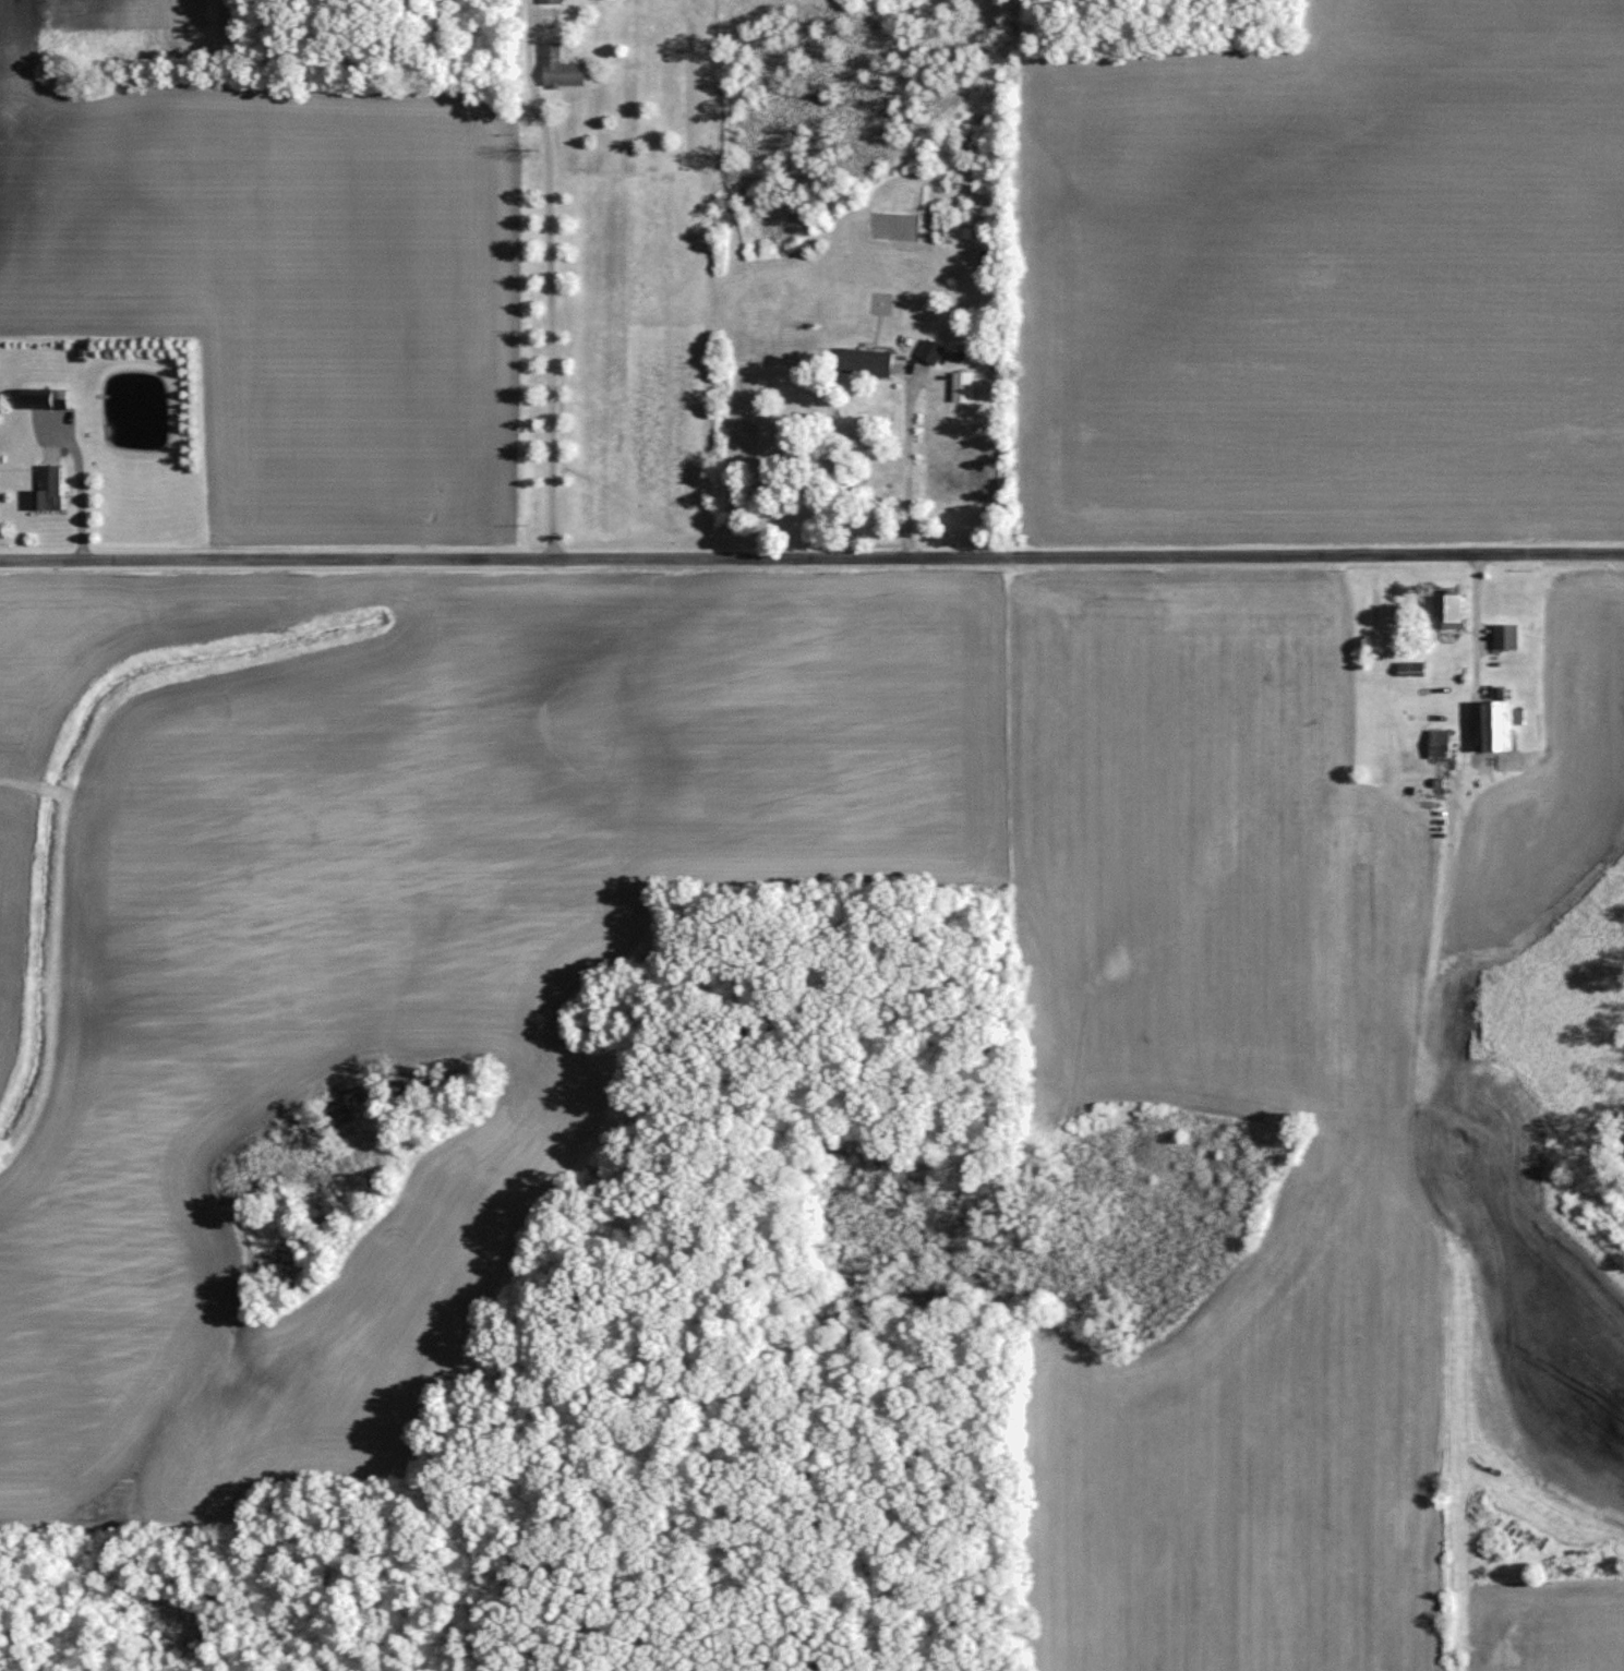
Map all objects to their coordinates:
crop: (1464, 26)
crop: (277, 275)
road: (549, 278)
crop: (1319, 293)
road: (811, 558)
crop: (10, 870)
road: (1425, 1042)
crop: (159, 1137)
crop: (1556, 1631)

